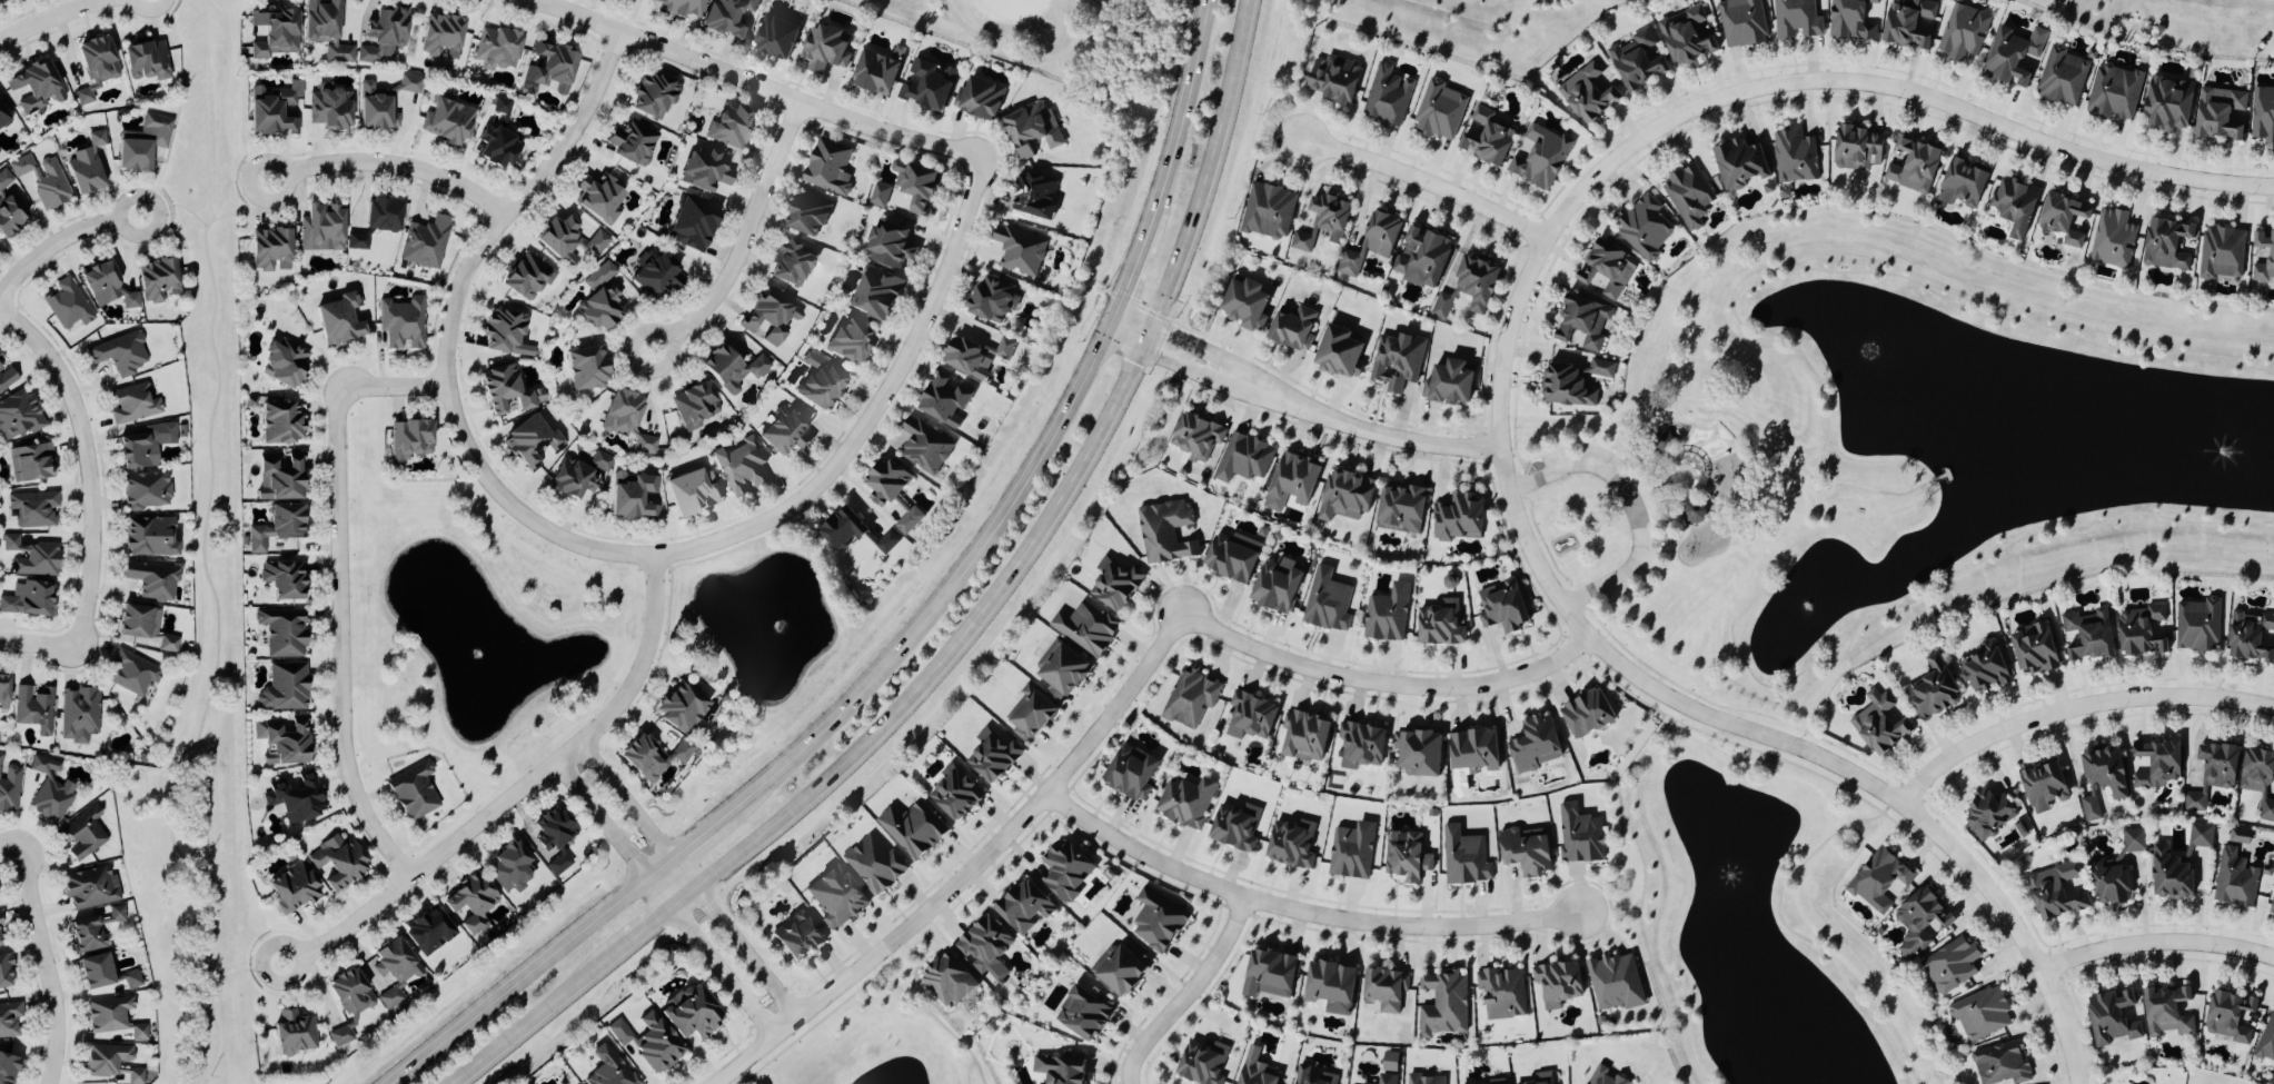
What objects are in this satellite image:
building: (678, 7)
road: (148, 8)
building: (728, 17)
road: (52, 18)
building: (1795, 19)
building: (1851, 19)
building: (1740, 22)
building: (1908, 24)
park: (1013, 28)
building: (324, 29)
building: (274, 32)
building: (383, 33)
building: (1962, 33)
building: (440, 34)
building: (1684, 36)
building: (775, 37)
building: (497, 48)
building: (823, 48)
building: (2010, 58)
building: (145, 59)
building: (1637, 60)
building: (93, 64)
building: (548, 69)
building: (876, 70)
building: (2060, 77)
building: (1331, 79)
road: (756, 84)
building: (927, 84)
building: (34, 86)
building: (2113, 92)
building: (1586, 93)
building: (653, 95)
building: (1384, 97)
building: (979, 98)
building: (380, 101)
building: (2166, 105)
building: (502, 106)
building: (328, 108)
building: (274, 109)
road: (1184, 110)
building: (1438, 111)
building: (2220, 115)
building: (2262, 116)
building: (2, 118)
building: (447, 119)
building: (731, 125)
building: (1032, 131)
building: (1483, 138)
building: (142, 141)
building: (635, 142)
building: (496, 147)
building: (1856, 149)
building: (1537, 157)
building: (1793, 157)
building: (1738, 163)
building: (86, 165)
road: (394, 165)
building: (1910, 166)
building: (828, 167)
building: (703, 169)
building: (4, 178)
building: (42, 179)
road: (1428, 181)
building: (914, 183)
building: (1960, 185)
building: (1767, 187)
building: (880, 195)
building: (1033, 196)
building: (598, 197)
building: (1687, 197)
building: (2012, 206)
building: (1267, 212)
building: (10, 213)
building: (381, 213)
building: (806, 213)
building: (2064, 219)
building: (1320, 222)
building: (691, 223)
building: (320, 227)
building: (1642, 230)
building: (555, 235)
building: (357, 239)
building: (2111, 240)
building: (0, 241)
building: (425, 242)
building: (1370, 242)
building: (890, 243)
road: (63, 245)
building: (2166, 246)
building: (269, 248)
building: (1019, 250)
building: (2221, 255)
building: (1420, 257)
building: (2262, 257)
building: (791, 262)
building: (1601, 270)
building: (655, 271)
road: (1133, 271)
building: (526, 276)
road: (1893, 276)
building: (157, 279)
building: (106, 285)
road: (721, 286)
building: (1468, 287)
building: (875, 294)
building: (599, 298)
building: (991, 298)
building: (1244, 304)
building: (67, 305)
building: (771, 315)
building: (340, 318)
building: (404, 322)
traffic signals: (1113, 322)
building: (1580, 325)
traffic signals: (1159, 326)
building: (1290, 328)
road: (448, 329)
building: (504, 331)
building: (850, 341)
traffic signals: (1148, 350)
building: (1338, 351)
building: (119, 352)
building: (974, 355)
road: (1223, 355)
building: (282, 361)
building: (1394, 361)
building: (732, 364)
building: (585, 368)
building: (6, 376)
road: (1213, 377)
building: (820, 382)
building: (1447, 382)
road: (397, 385)
building: (1565, 386)
building: (502, 390)
building: (537, 395)
road: (1502, 395)
building: (943, 398)
building: (132, 404)
building: (694, 404)
road: (876, 409)
building: (619, 411)
building: (18, 415)
building: (279, 422)
road: (1513, 425)
building: (785, 430)
building: (1196, 437)
building: (408, 438)
road: (1411, 440)
building: (1662, 441)
building: (530, 442)
building: (645, 444)
road: (1585, 444)
building: (142, 446)
building: (924, 446)
fountain: (2227, 447)
road: (1759, 449)
road: (1654, 453)
road: (1668, 456)
building: (1243, 457)
road: (1674, 458)
road: (1691, 459)
road: (1659, 460)
building: (30, 461)
road: (1667, 463)
road: (90, 464)
building: (742, 466)
road: (1522, 469)
road: (1651, 474)
pier: (1946, 475)
building: (279, 476)
building: (577, 476)
road: (1817, 476)
road: (1678, 478)
pier: (1947, 478)
road: (1823, 479)
pier: (1939, 479)
building: (1292, 480)
building: (883, 483)
road: (1517, 484)
road: (1701, 484)
road: (1816, 484)
road: (1821, 486)
building: (146, 490)
building: (689, 493)
road: (1879, 493)
road: (1646, 494)
road: (1518, 495)
road: (1680, 495)
building: (632, 496)
building: (1343, 496)
road: (1065, 498)
park: (1648, 499)
road: (1664, 503)
road: (1629, 506)
building: (32, 508)
building: (1398, 509)
building: (1697, 514)
road: (1672, 517)
building: (1457, 518)
building: (908, 520)
building: (275, 527)
building: (841, 528)
road: (1646, 528)
road: (1687, 529)
building: (1166, 531)
road: (2038, 534)
building: (150, 536)
building: (886, 543)
road: (1677, 543)
road: (1543, 546)
road: (1654, 550)
road: (1666, 554)
building: (31, 556)
building: (1230, 556)
building: (282, 579)
building: (151, 580)
building: (1113, 584)
building: (1275, 584)
road: (1635, 590)
road: (951, 595)
road: (1567, 598)
building: (28, 599)
building: (1327, 600)
building: (1501, 606)
road: (1575, 606)
road: (1589, 611)
fountain: (1806, 611)
building: (1387, 613)
fountain: (772, 619)
building: (137, 620)
building: (1440, 623)
road: (1732, 623)
building: (1085, 627)
building: (2196, 627)
building: (281, 631)
building: (2141, 631)
building: (2085, 635)
building: (2251, 637)
road: (340, 640)
building: (168, 644)
road: (40, 647)
building: (2032, 650)
fountain: (481, 656)
building: (1061, 669)
building: (1984, 669)
building: (131, 673)
building: (285, 687)
road: (1680, 688)
road: (1815, 688)
road: (1384, 689)
building: (1930, 690)
building: (3, 692)
building: (1191, 698)
building: (679, 707)
road: (2075, 707)
building: (34, 708)
building: (79, 713)
building: (1030, 714)
building: (1585, 714)
building: (1250, 716)
building: (1878, 725)
building: (1303, 735)
building: (281, 739)
building: (1360, 744)
building: (1533, 745)
road: (1748, 748)
building: (1472, 750)
building: (1417, 752)
road: (1844, 752)
building: (651, 756)
building: (992, 756)
building: (2155, 764)
building: (1130, 773)
building: (2103, 773)
building: (2211, 774)
building: (2257, 780)
building: (9, 786)
building: (2042, 787)
building: (49, 792)
building: (413, 792)
road: (519, 792)
building: (956, 792)
building: (295, 796)
building: (1186, 802)
building: (2091, 807)
road: (639, 812)
building: (1986, 813)
road: (604, 818)
building: (1234, 826)
building: (550, 828)
building: (913, 828)
building: (82, 835)
building: (1579, 835)
road: (699, 837)
building: (2198, 837)
building: (2240, 837)
building: (2132, 842)
building: (1290, 843)
road: (13, 844)
building: (1525, 849)
road: (1924, 849)
building: (1351, 851)
building: (1404, 856)
building: (1463, 857)
building: (559, 863)
building: (338, 864)
building: (874, 865)
building: (510, 867)
road: (662, 867)
building: (1065, 872)
road: (973, 874)
building: (2169, 875)
fountain: (1730, 876)
building: (2233, 882)
building: (1878, 883)
building: (2109, 884)
building: (89, 887)
building: (292, 887)
building: (2054, 893)
road: (684, 894)
road: (1640, 897)
building: (835, 898)
building: (468, 904)
building: (2272, 905)
building: (1023, 907)
road: (1609, 909)
road: (1298, 913)
building: (1920, 919)
building: (0, 921)
building: (1156, 921)
road: (649, 923)
building: (93, 928)
building: (427, 931)
building: (795, 936)
road: (930, 938)
road: (2157, 942)
building: (0, 944)
road: (748, 951)
road: (713, 956)
building: (390, 962)
road: (48, 964)
building: (1949, 967)
building: (93, 971)
building: (1118, 971)
building: (4, 972)
building: (1269, 974)
building: (132, 979)
building: (947, 979)
road: (522, 981)
building: (1615, 982)
building: (1557, 983)
building: (1329, 985)
building: (1381, 989)
road: (1189, 993)
building: (1501, 994)
building: (389, 997)
building: (347, 1002)
building: (1442, 1004)
road: (834, 1010)
road: (537, 1011)
building: (2166, 1013)
building: (109, 1014)
building: (1081, 1014)
building: (691, 1015)
building: (1979, 1015)
building: (2226, 1016)
building: (9, 1020)
building: (2112, 1020)
road: (937, 1023)
building: (139, 1032)
building: (619, 1032)
building: (294, 1033)
building: (2266, 1042)
building: (654, 1044)
building: (1389, 1062)
building: (110, 1063)
building: (1201, 1064)
building: (2000, 1065)
building: (609, 1067)
building: (7, 1068)
building: (1253, 1068)
road: (967, 1071)
building: (1056, 1071)
building: (1300, 1074)
building: (1602, 1076)
building: (1542, 1077)
building: (1387, 1078)
building: (1424, 1078)
building: (1496, 1081)

